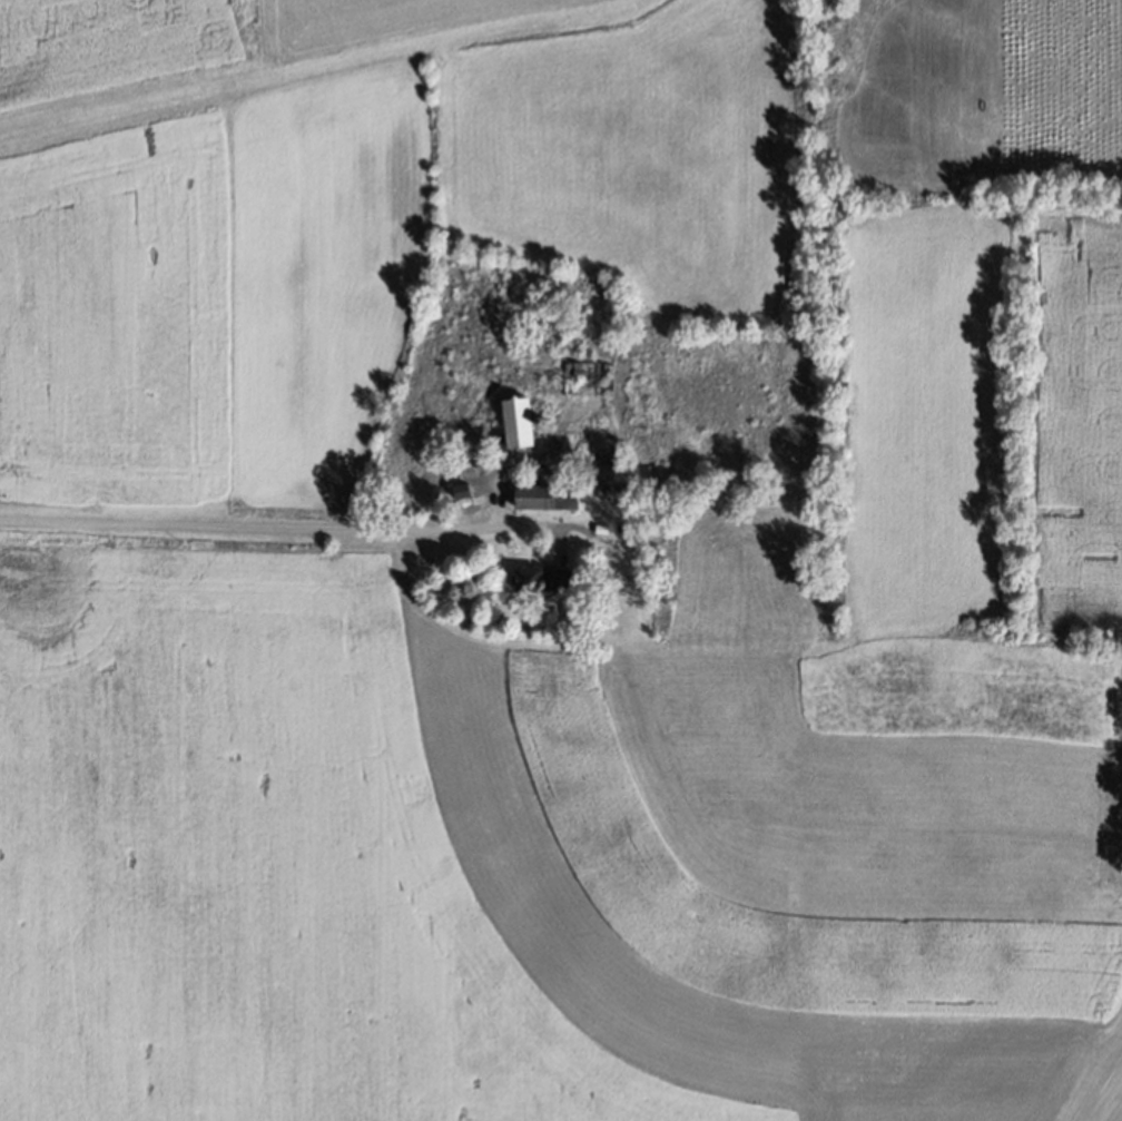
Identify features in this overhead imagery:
building: (589, 378)
building: (518, 421)
building: (500, 442)
building: (606, 458)
building: (549, 495)
road: (283, 529)
building: (544, 578)

